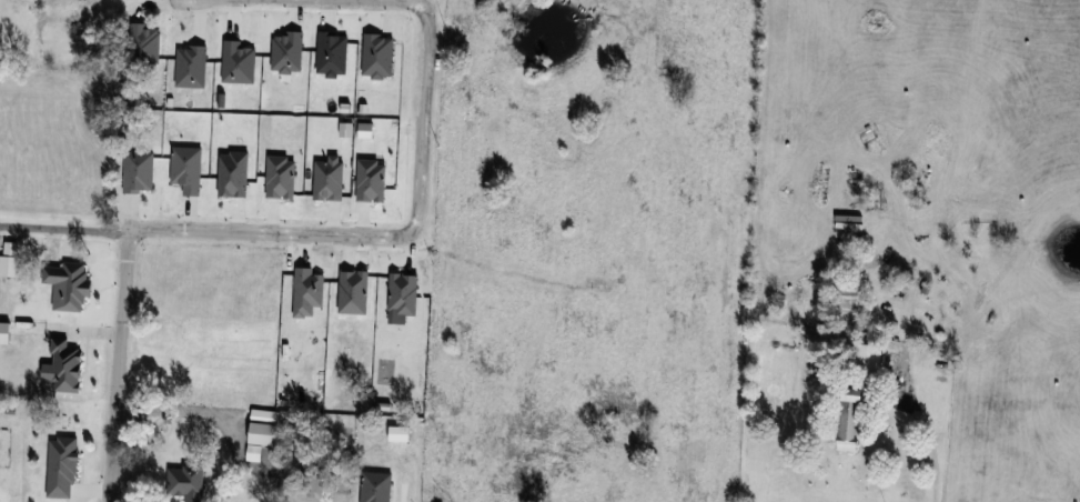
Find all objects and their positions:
building: (80, 33)
road: (64, 229)
road: (414, 230)
building: (850, 307)
building: (868, 361)
road: (120, 363)
road: (178, 404)
building: (850, 420)
building: (264, 433)
road: (929, 444)
building: (188, 482)
building: (312, 488)

